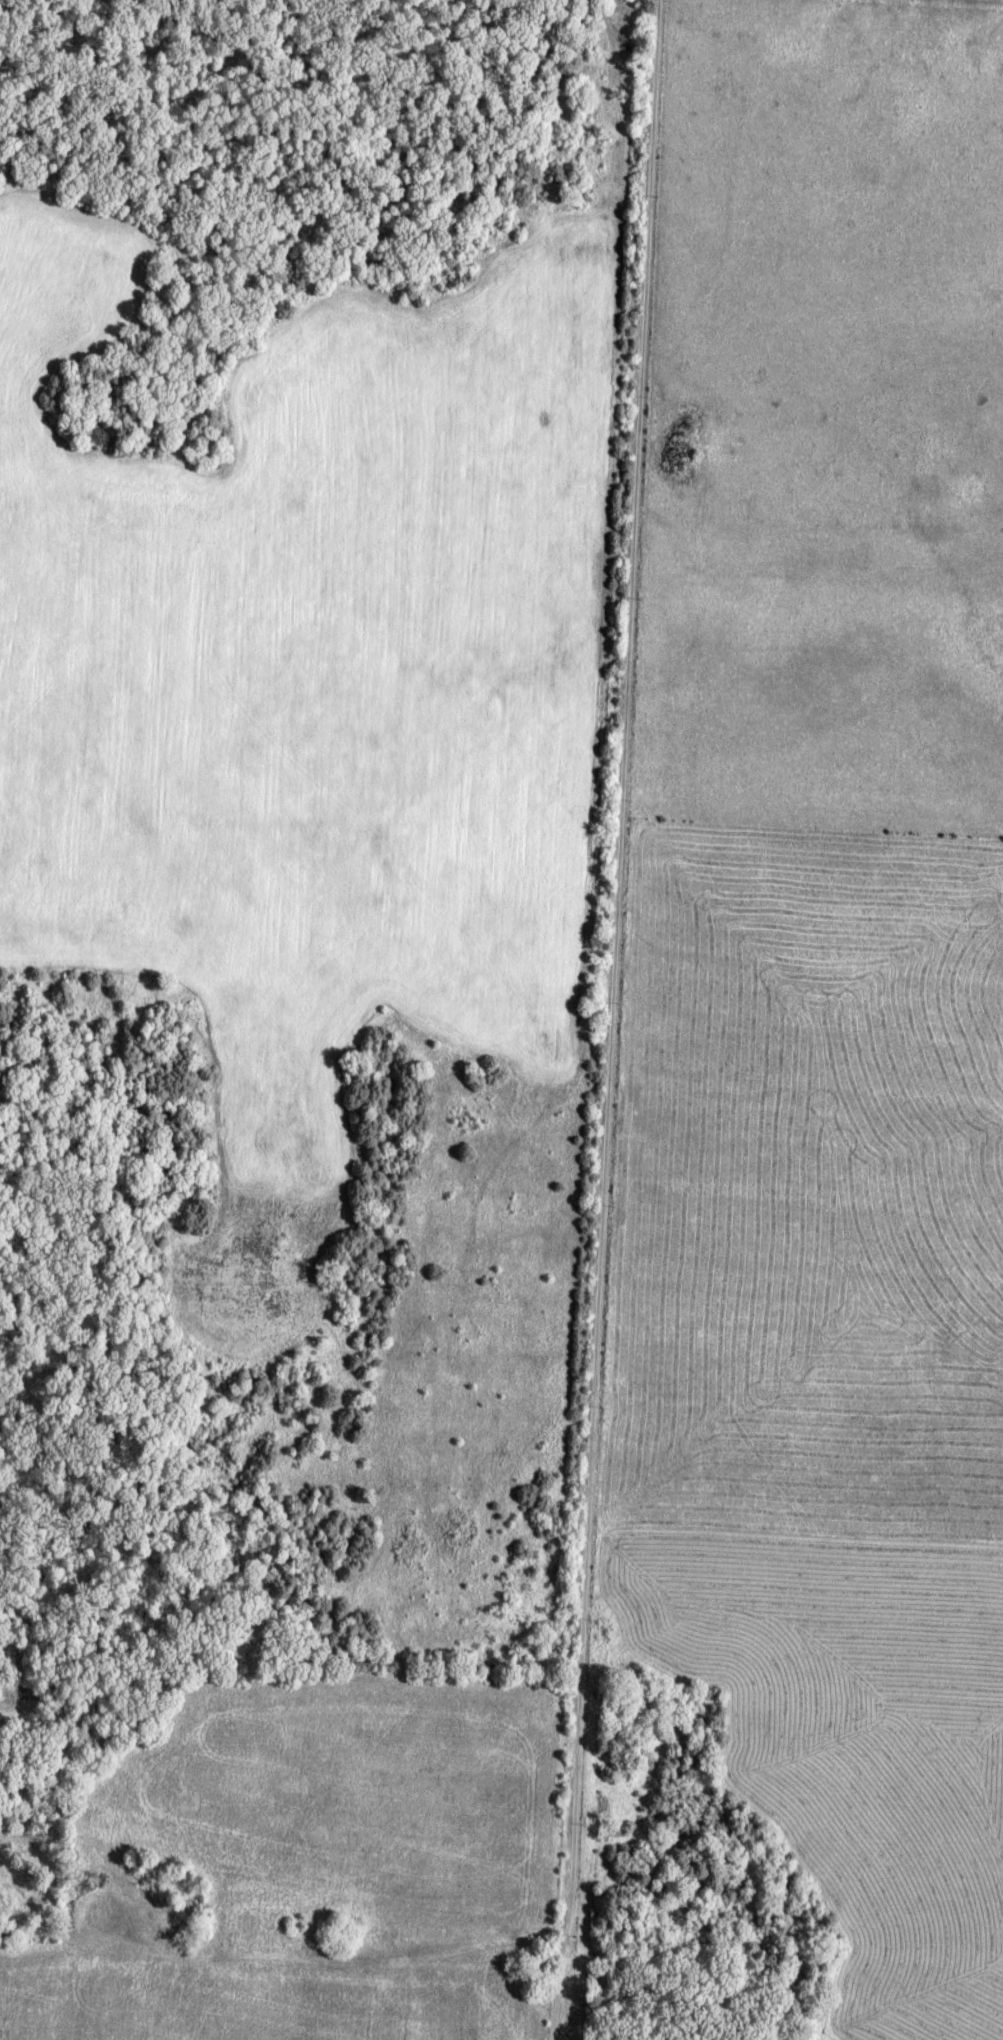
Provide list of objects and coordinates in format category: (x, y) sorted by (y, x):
building: (598, 94)
road: (615, 1020)

